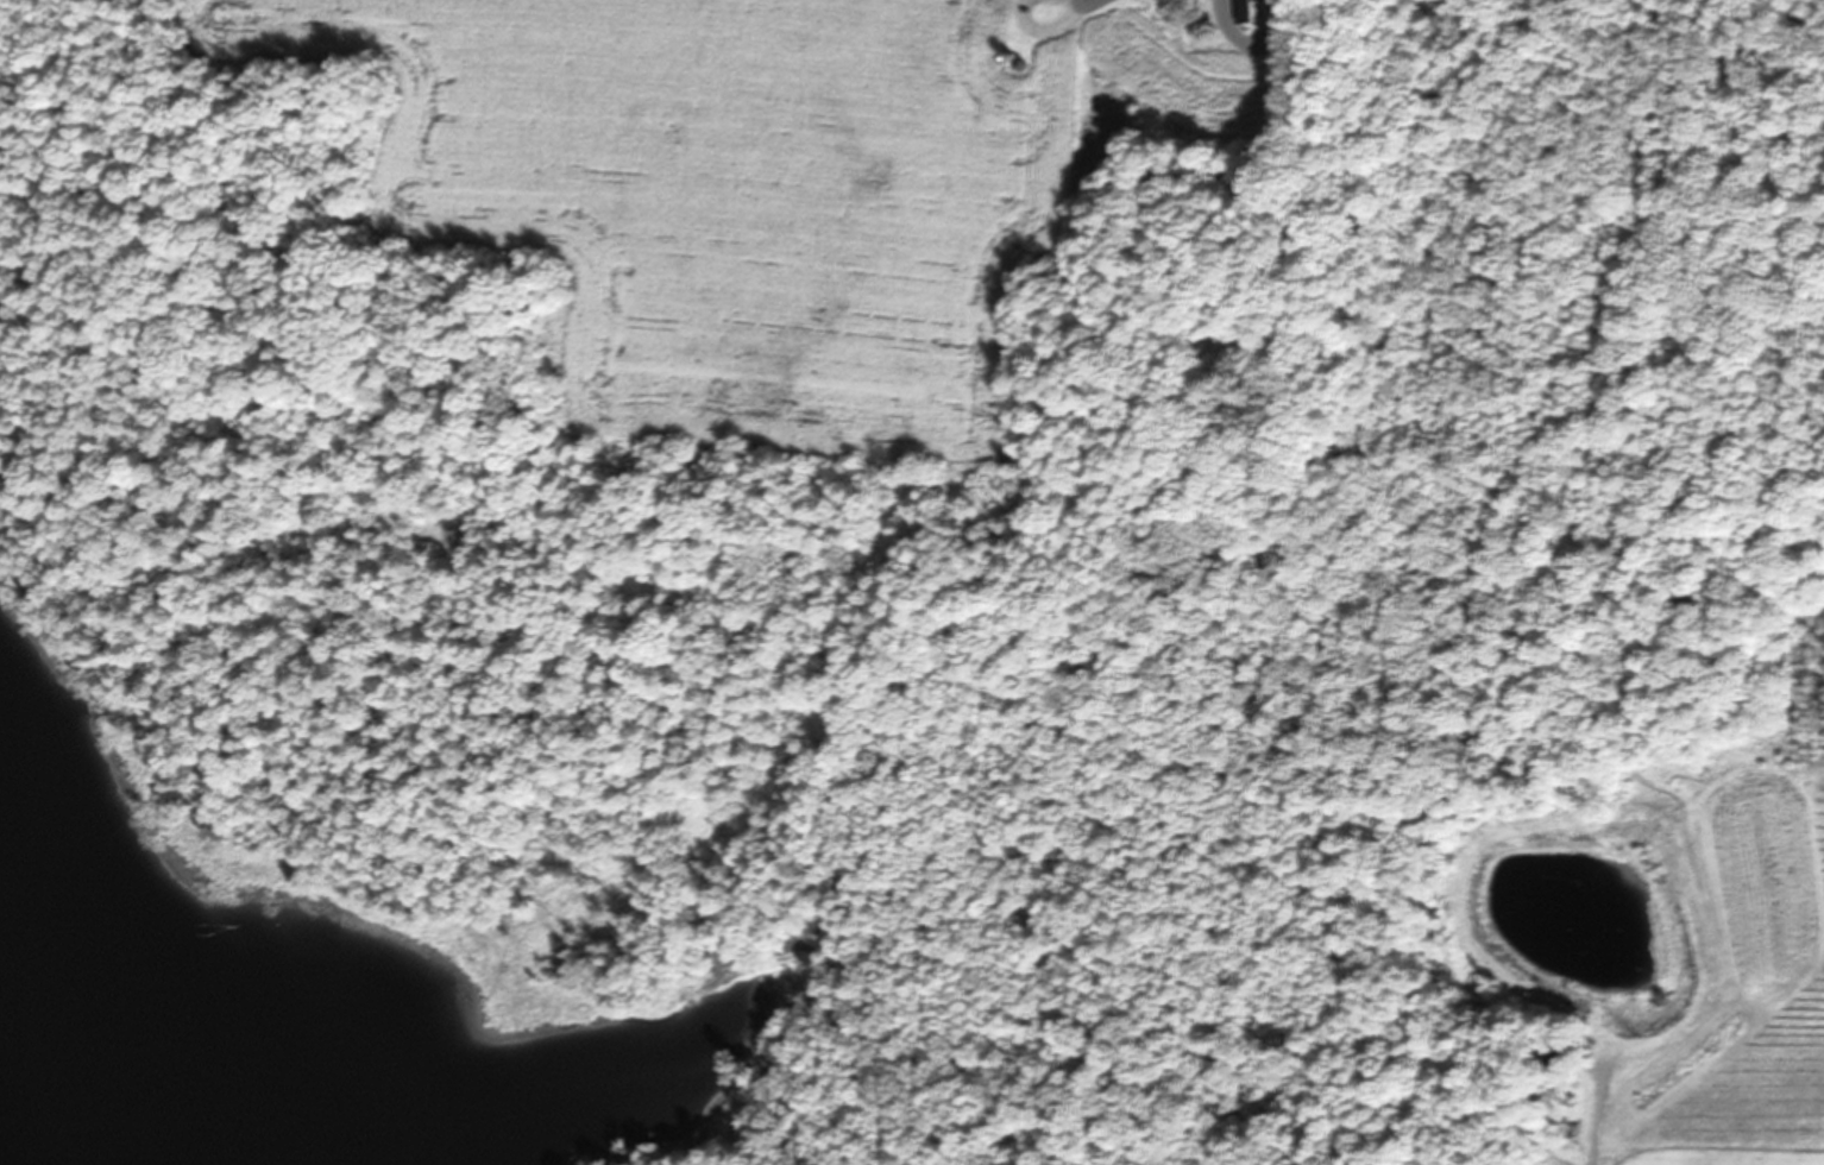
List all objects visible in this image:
building: (1250, 12)
building: (1170, 21)
crop: (743, 197)
crop: (1729, 971)

